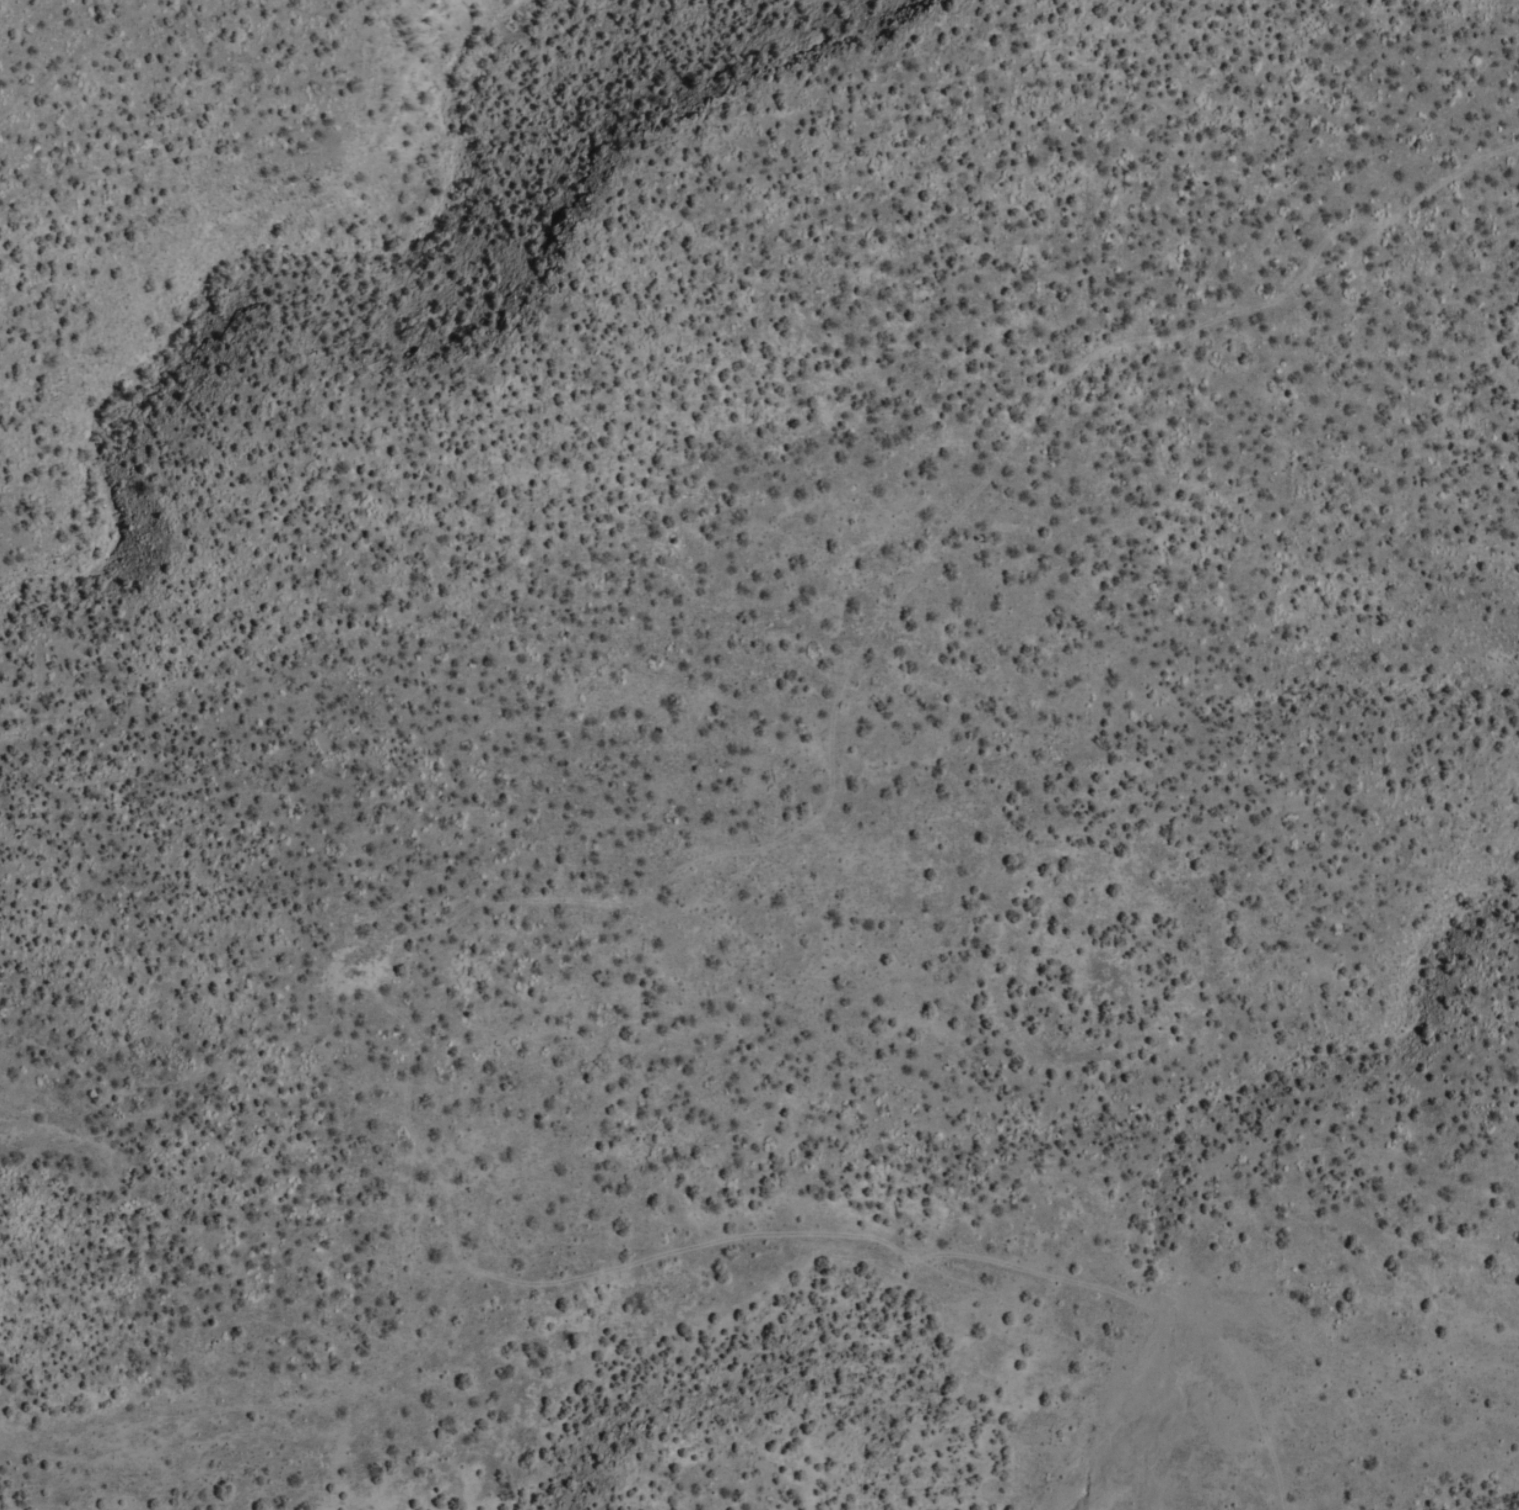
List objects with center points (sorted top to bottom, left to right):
road: (1284, 1401)

